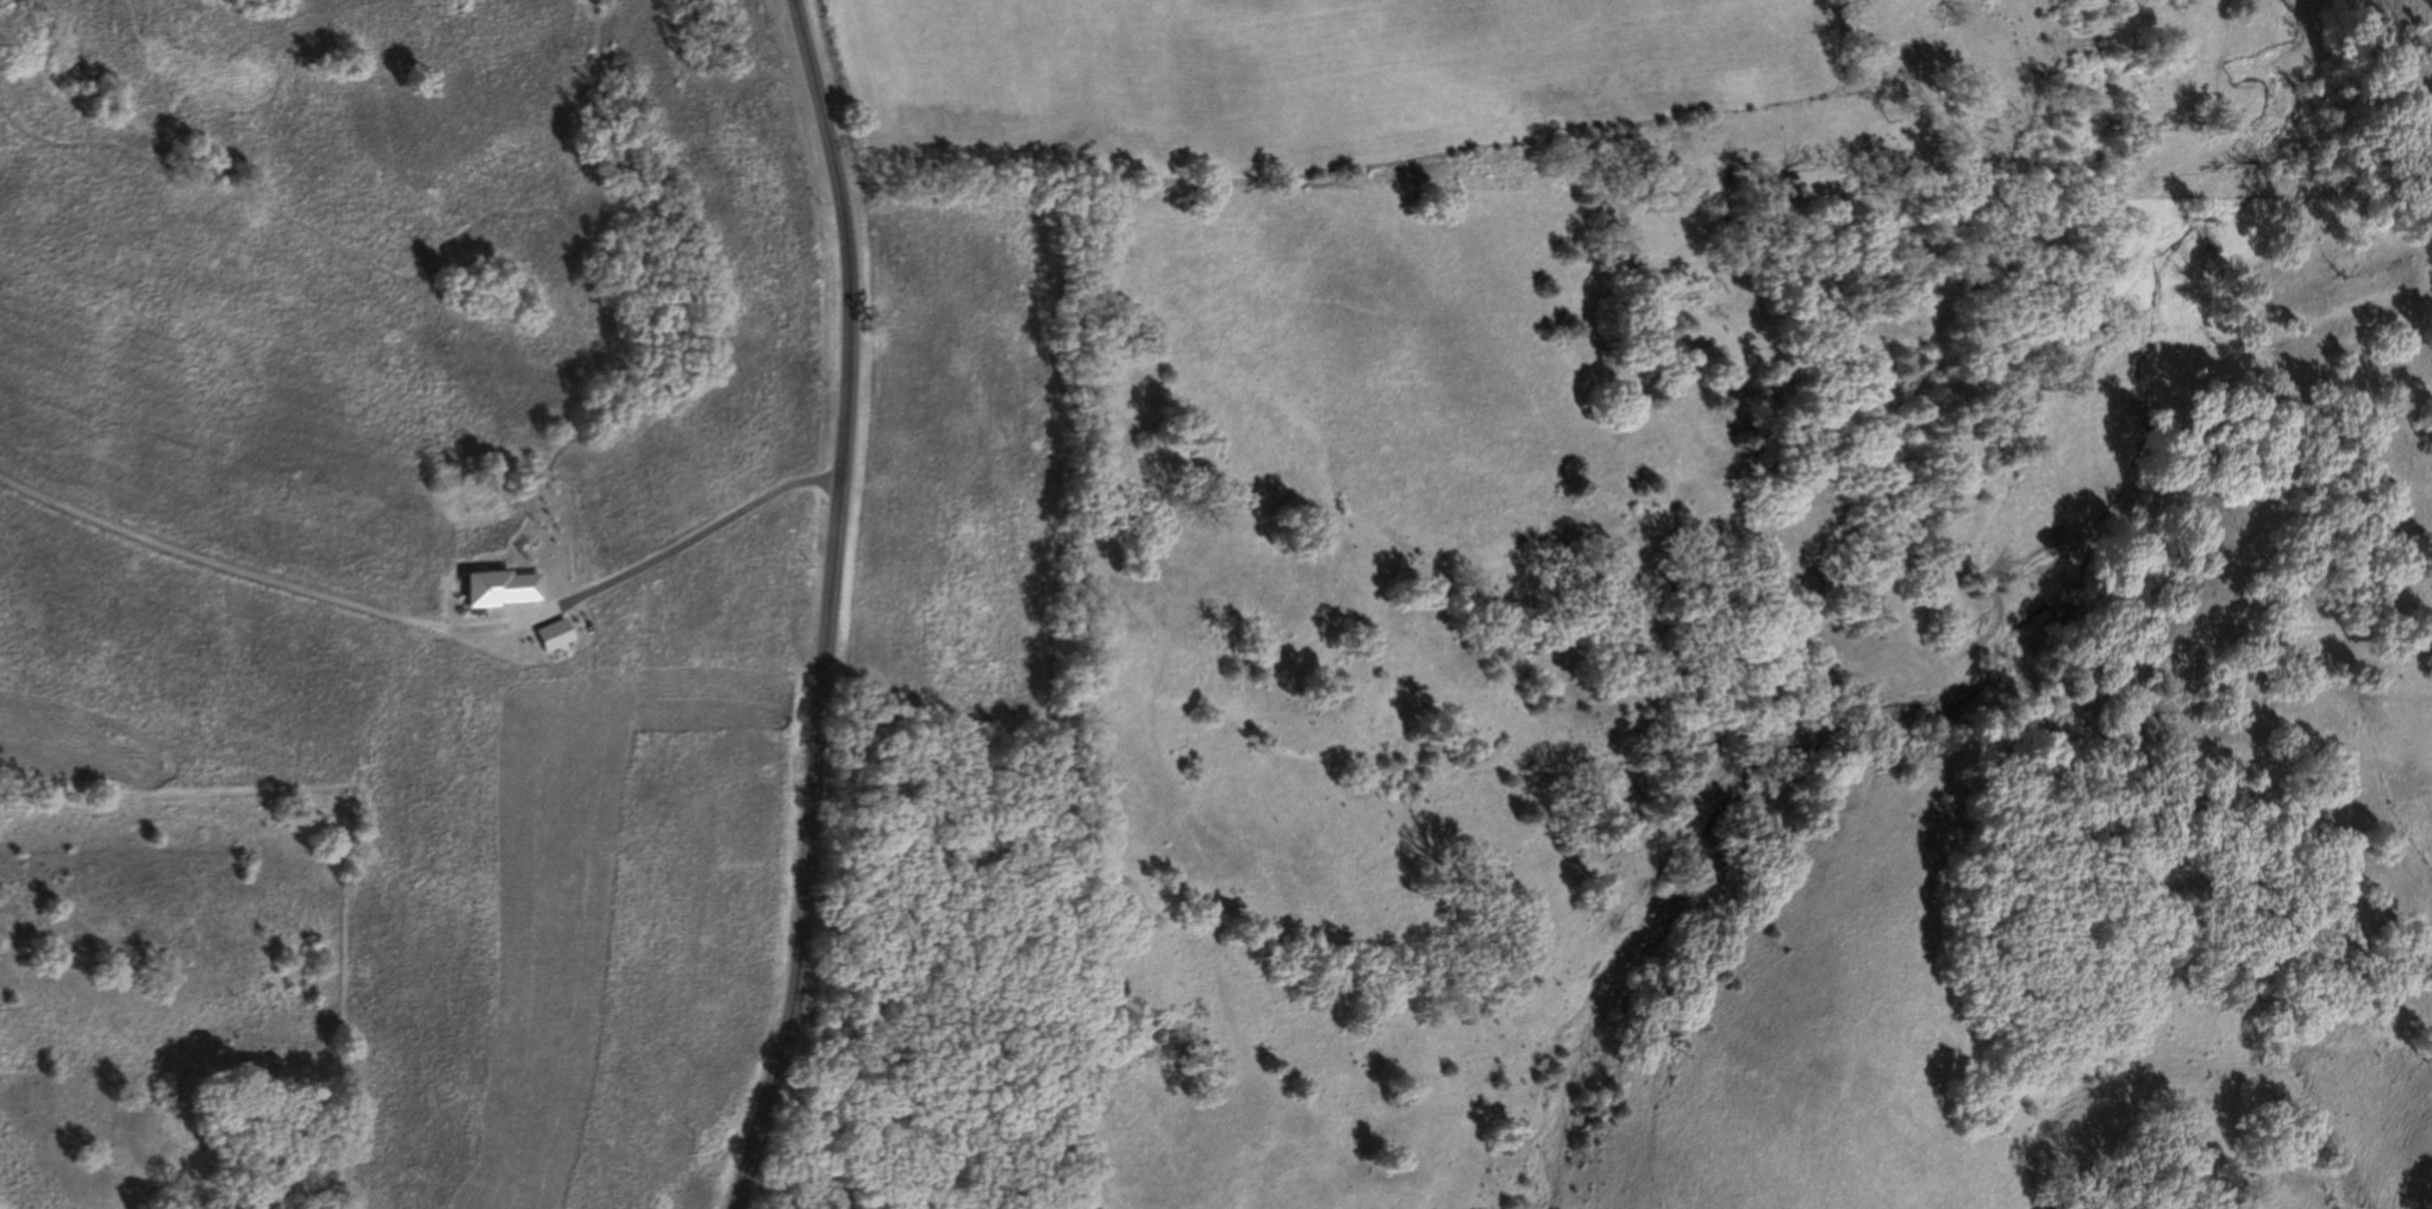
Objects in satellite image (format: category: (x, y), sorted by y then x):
road: (864, 607)

